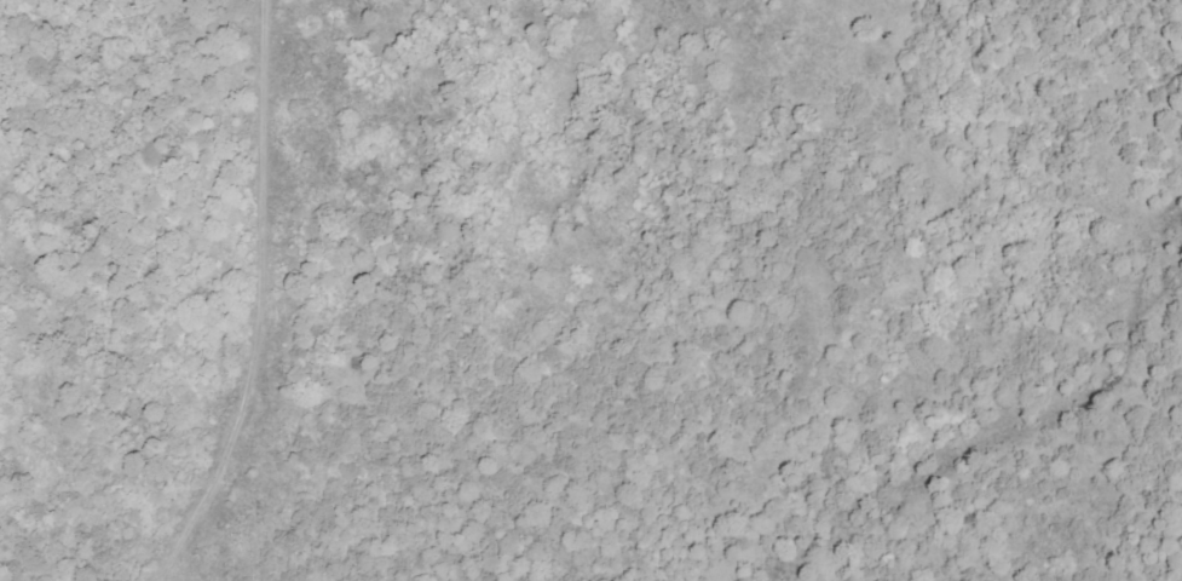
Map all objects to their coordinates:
road: (260, 303)

